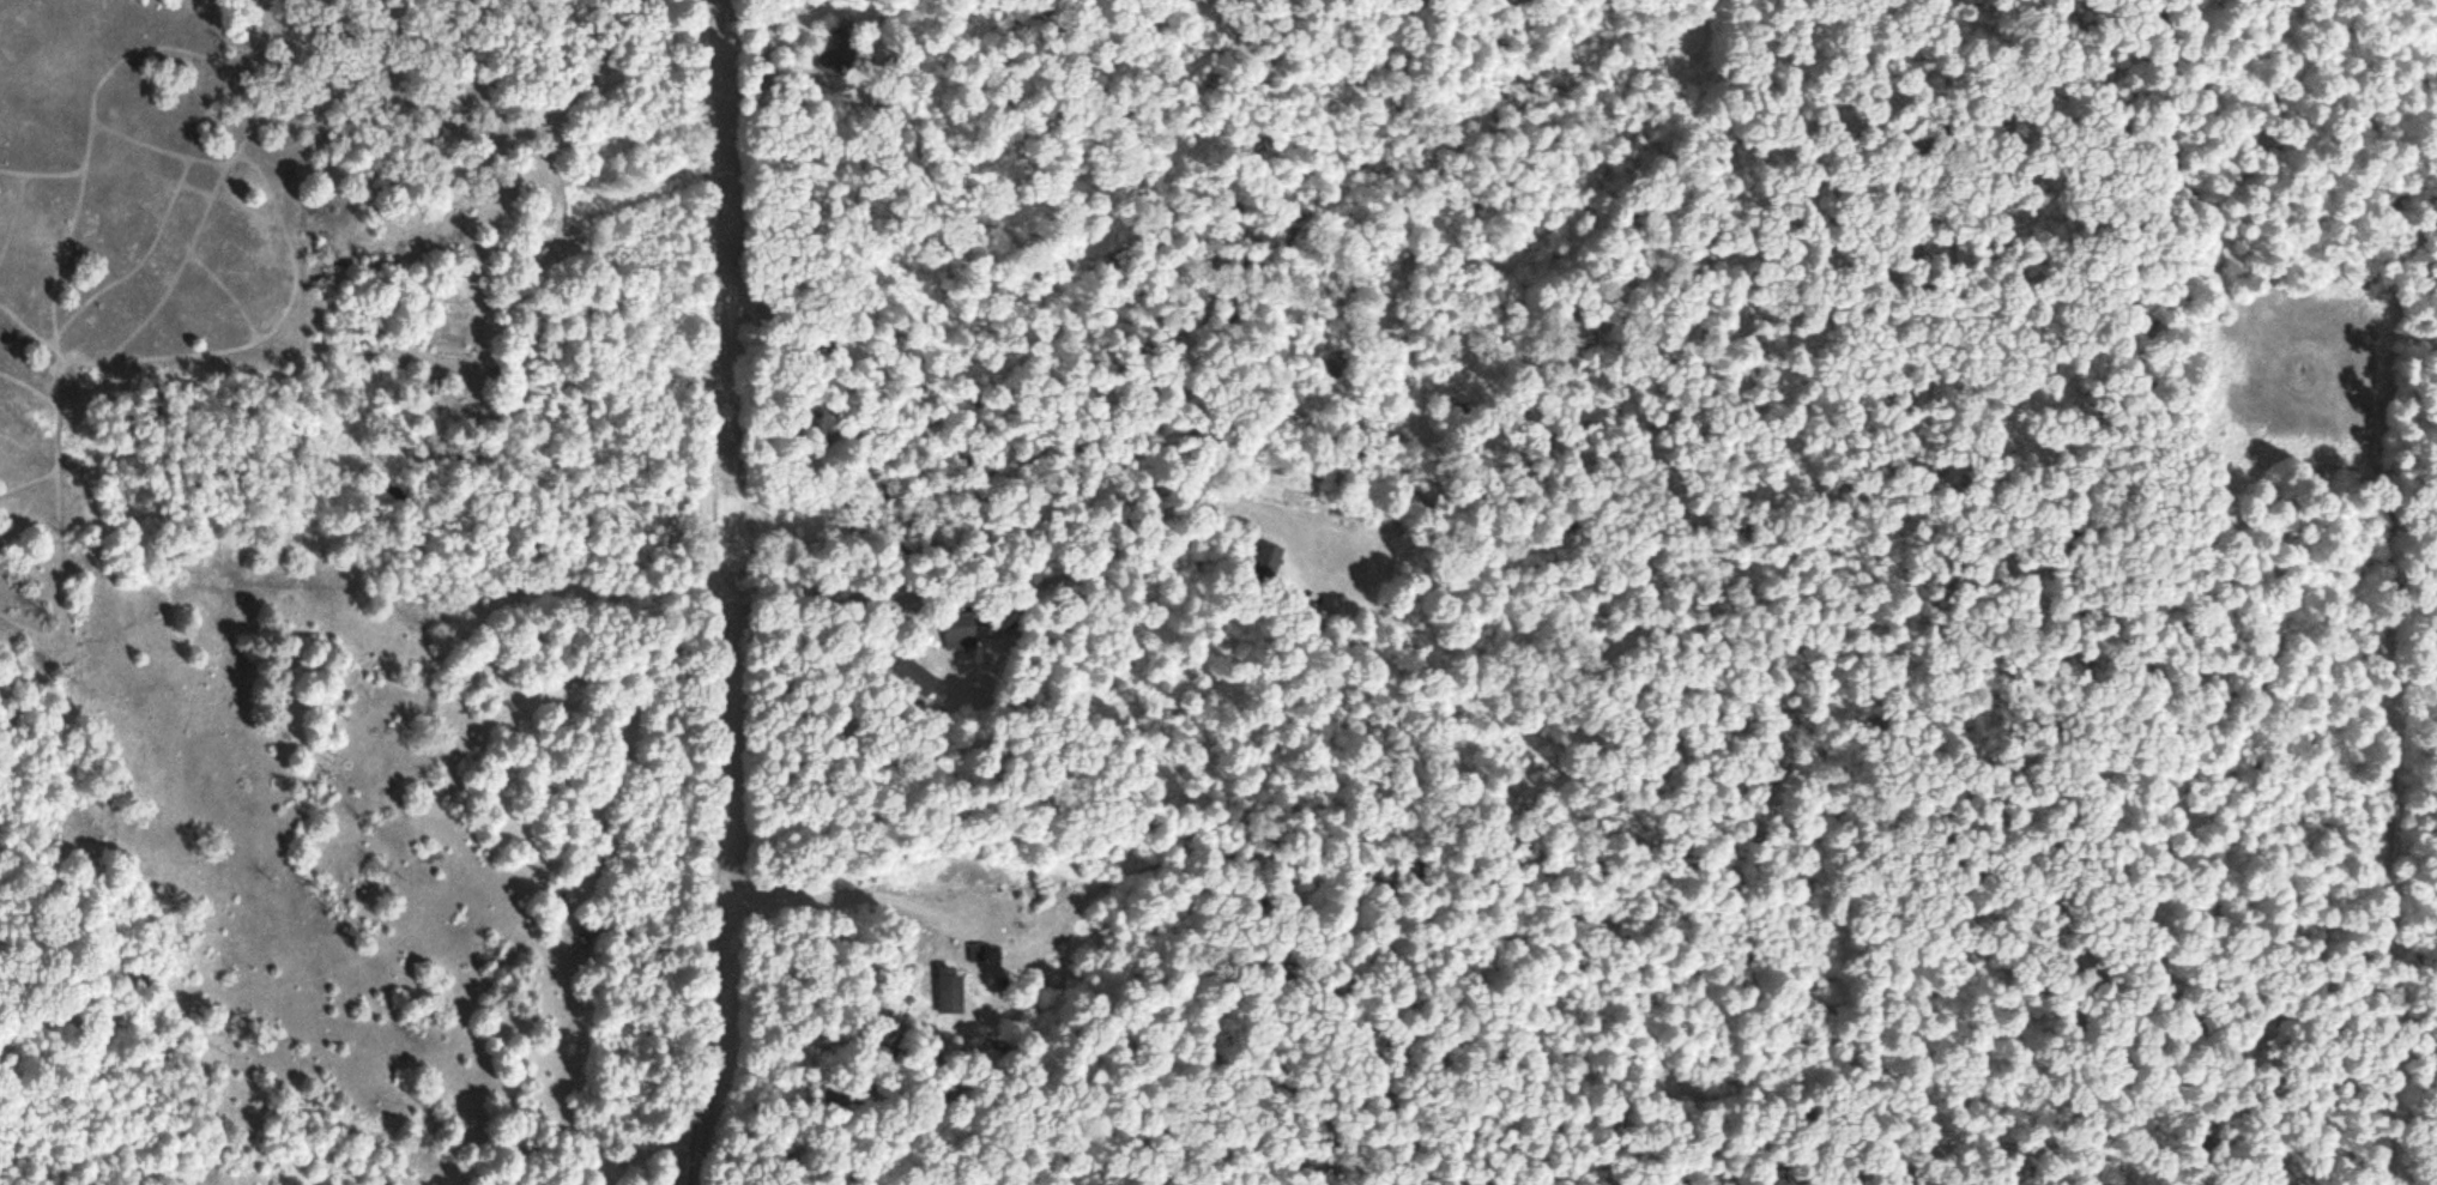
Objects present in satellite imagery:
building: (842, 47)
road: (2191, 174)
building: (1266, 561)
road: (720, 592)
road: (1453, 600)
building: (1319, 612)
building: (963, 624)
building: (909, 673)
building: (953, 994)

